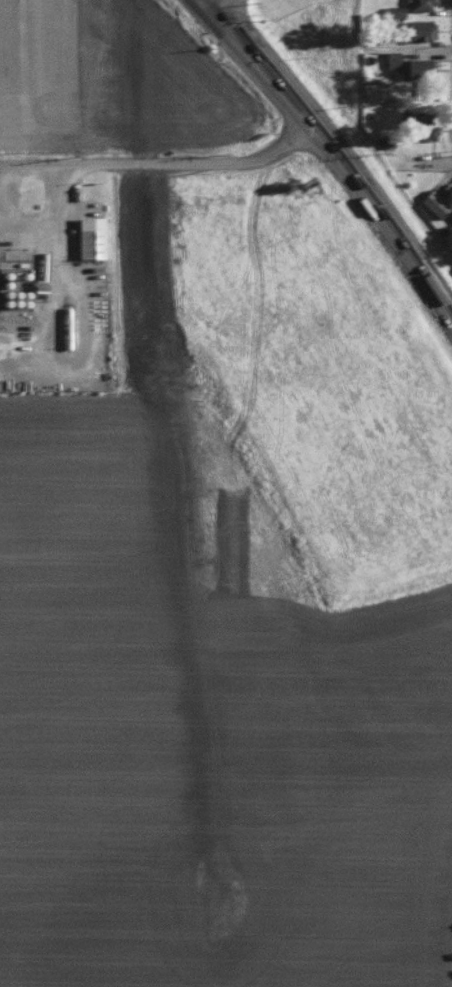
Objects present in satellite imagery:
building: (419, 5)
building: (393, 9)
road: (366, 17)
building: (417, 28)
road: (404, 50)
building: (390, 58)
road: (259, 59)
building: (417, 67)
building: (416, 124)
road: (161, 162)
building: (432, 202)
road: (381, 214)
building: (94, 237)
road: (58, 263)
building: (43, 285)
road: (450, 314)

